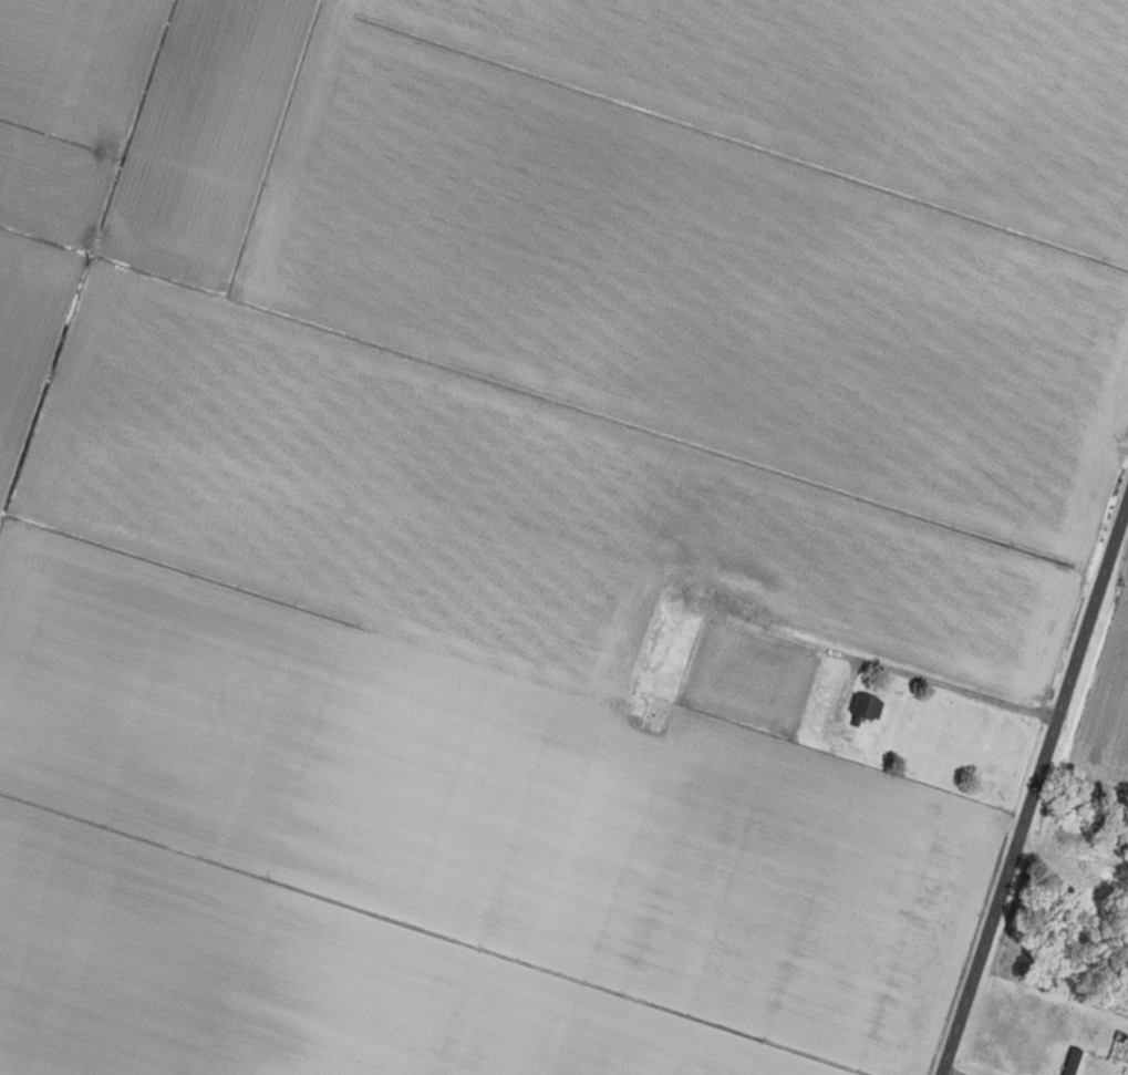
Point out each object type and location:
road: (945, 684)
building: (865, 706)
road: (1034, 793)
building: (1070, 1061)

